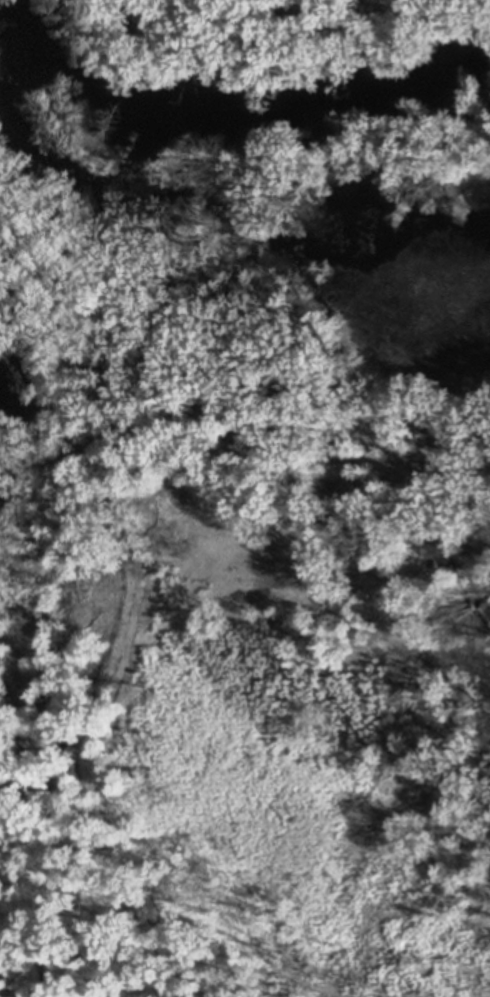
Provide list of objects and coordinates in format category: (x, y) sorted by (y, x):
river: (226, 119)

